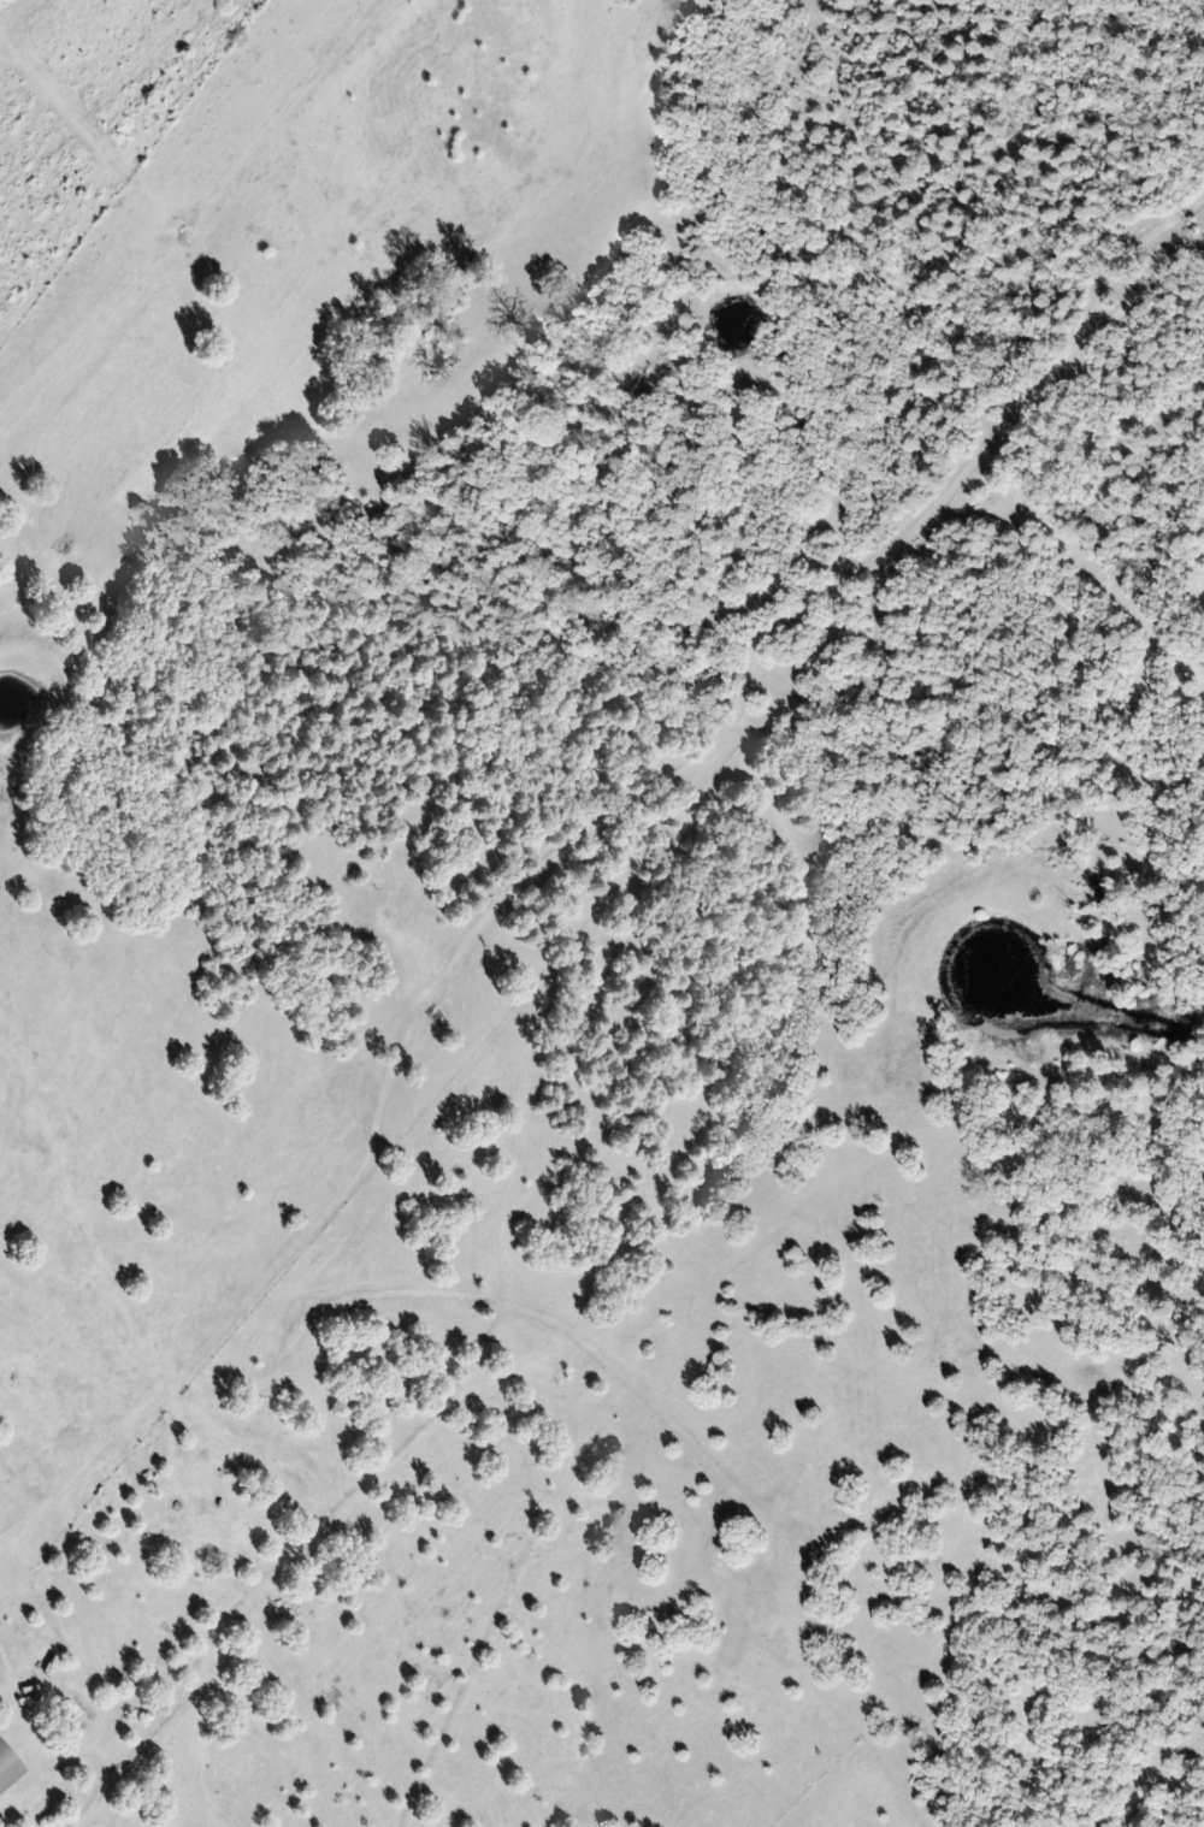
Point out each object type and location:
building: (79, 1708)
building: (7, 1767)

